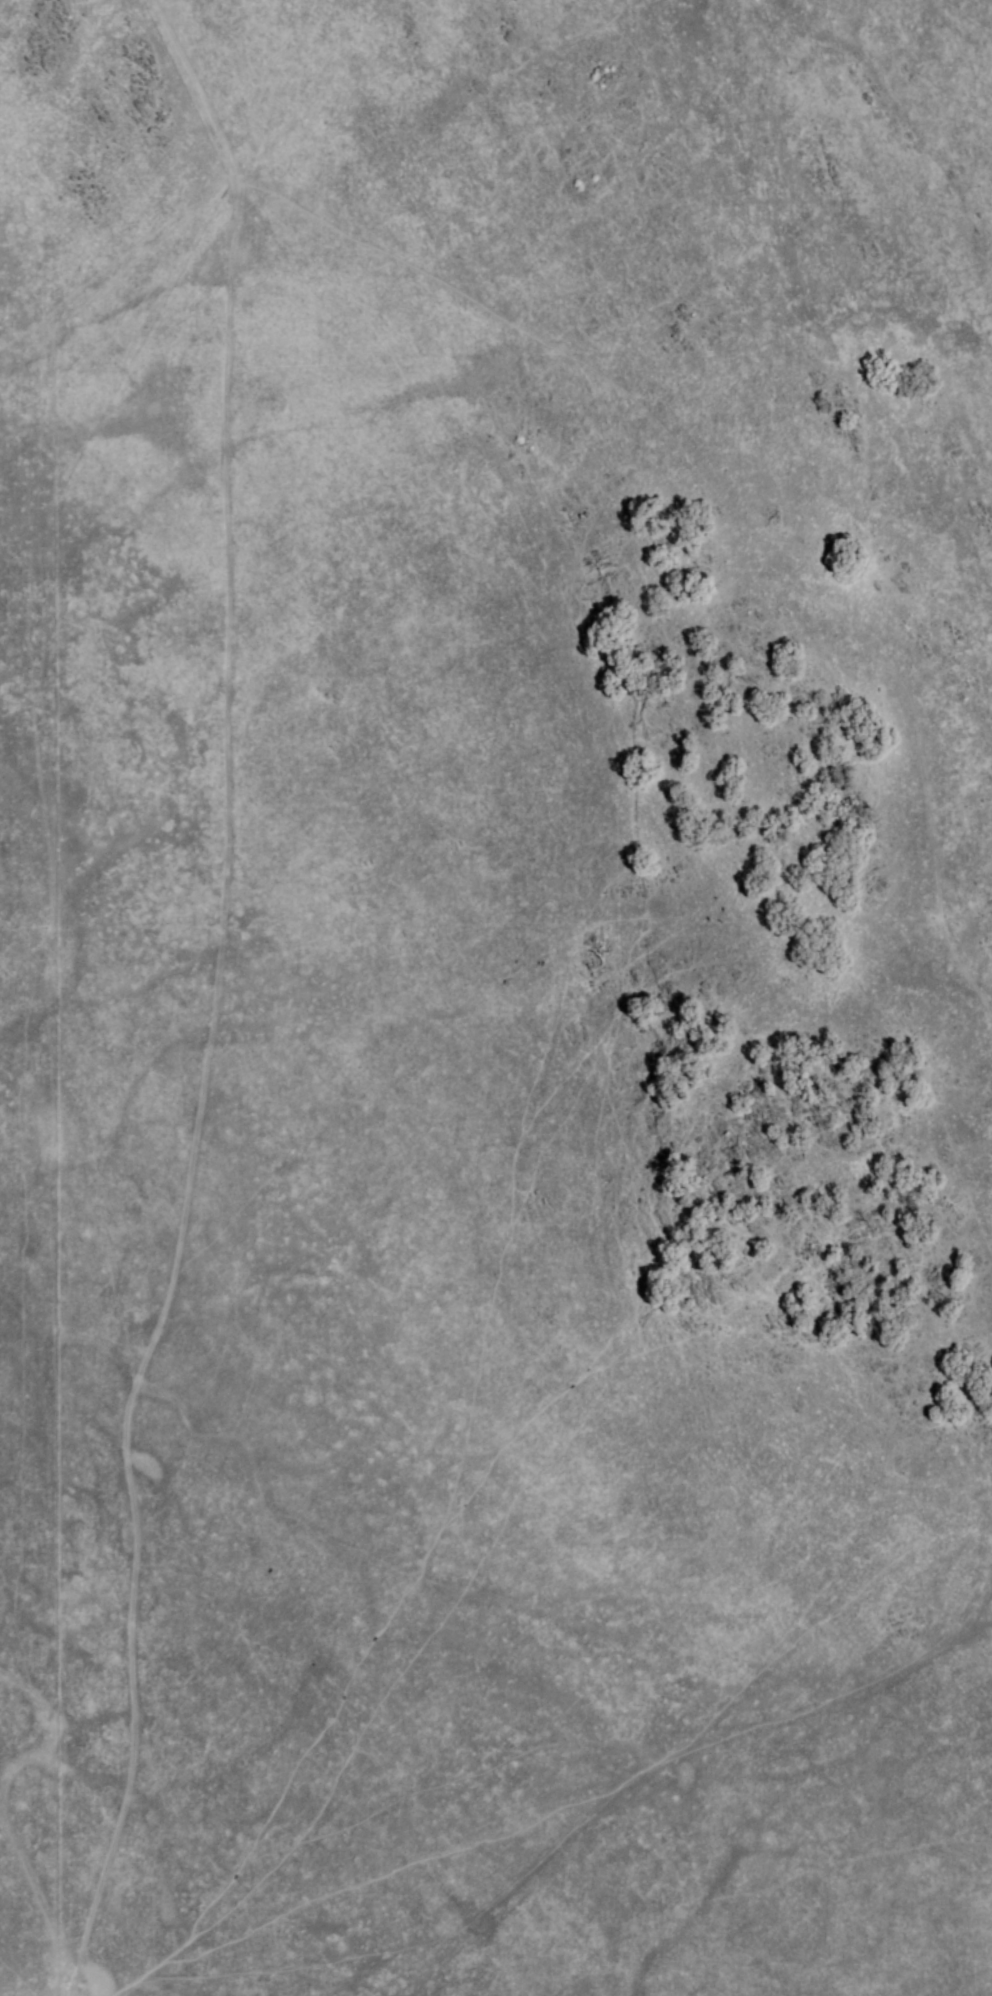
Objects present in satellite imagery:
road: (222, 1001)

